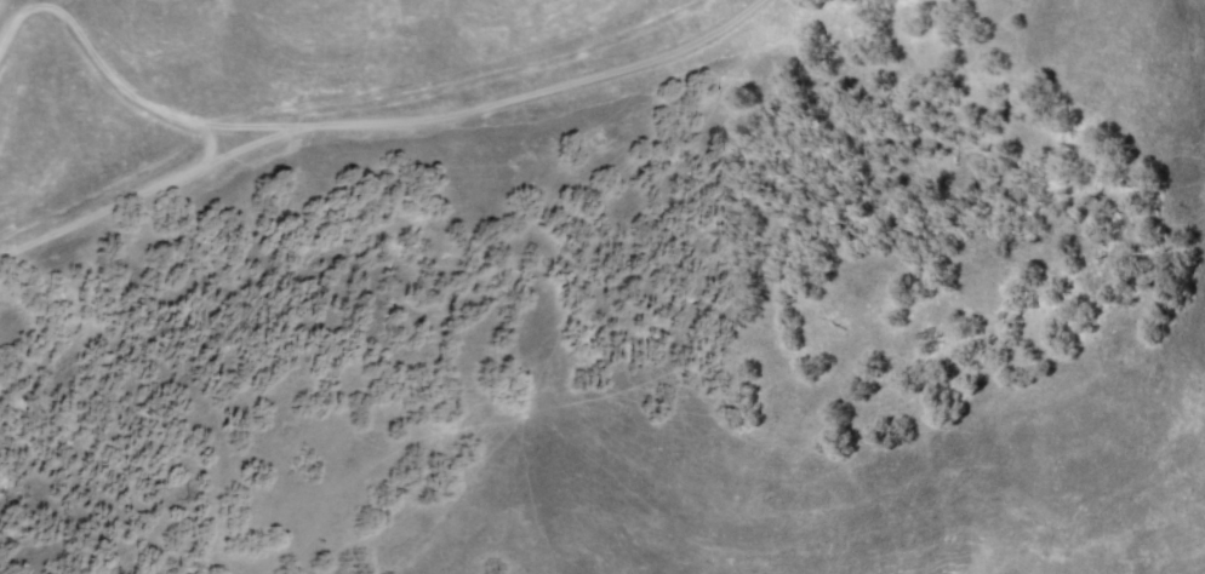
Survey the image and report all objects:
road: (360, 120)
road: (148, 190)

